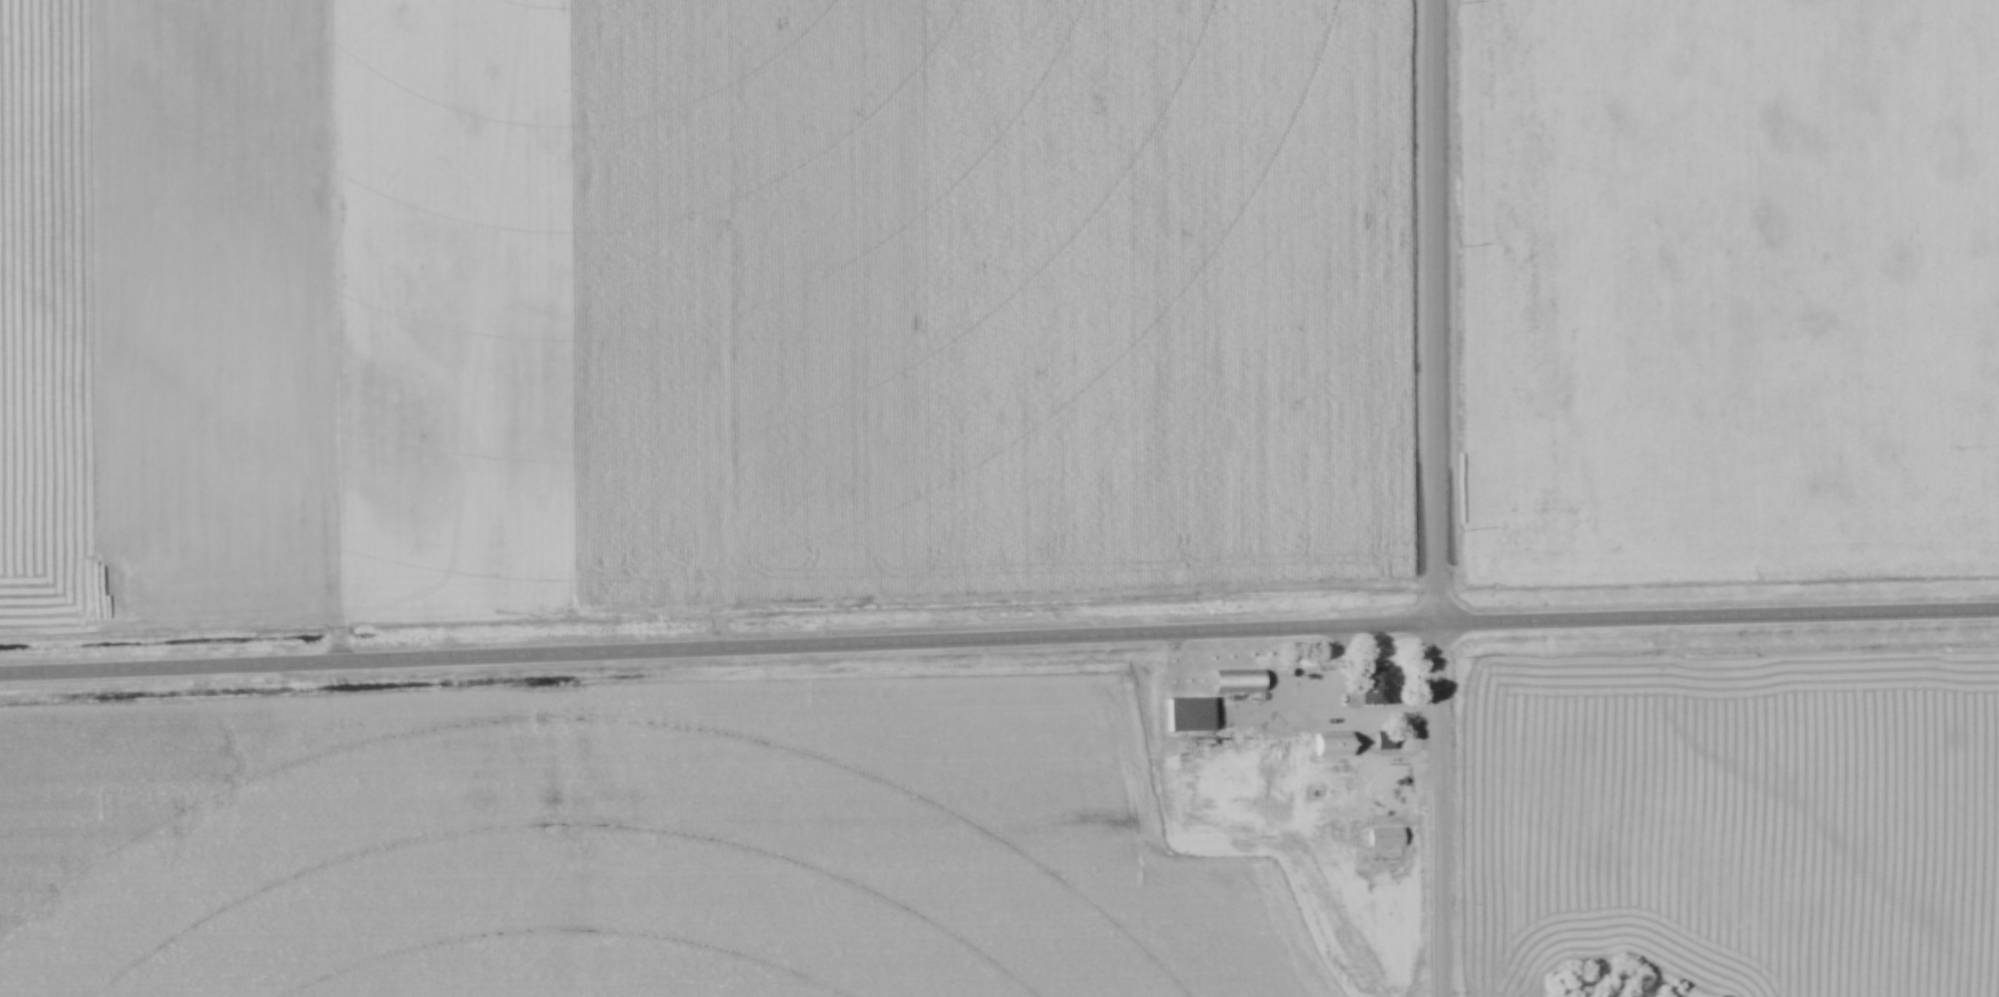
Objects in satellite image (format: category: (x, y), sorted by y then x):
crop: (1728, 290)
crop: (694, 304)
road: (1435, 498)
road: (999, 640)
building: (1238, 686)
building: (1375, 688)
building: (1188, 718)
road: (1330, 721)
building: (1381, 743)
building: (1329, 747)
crop: (1737, 816)
building: (1383, 839)
crop: (625, 850)

